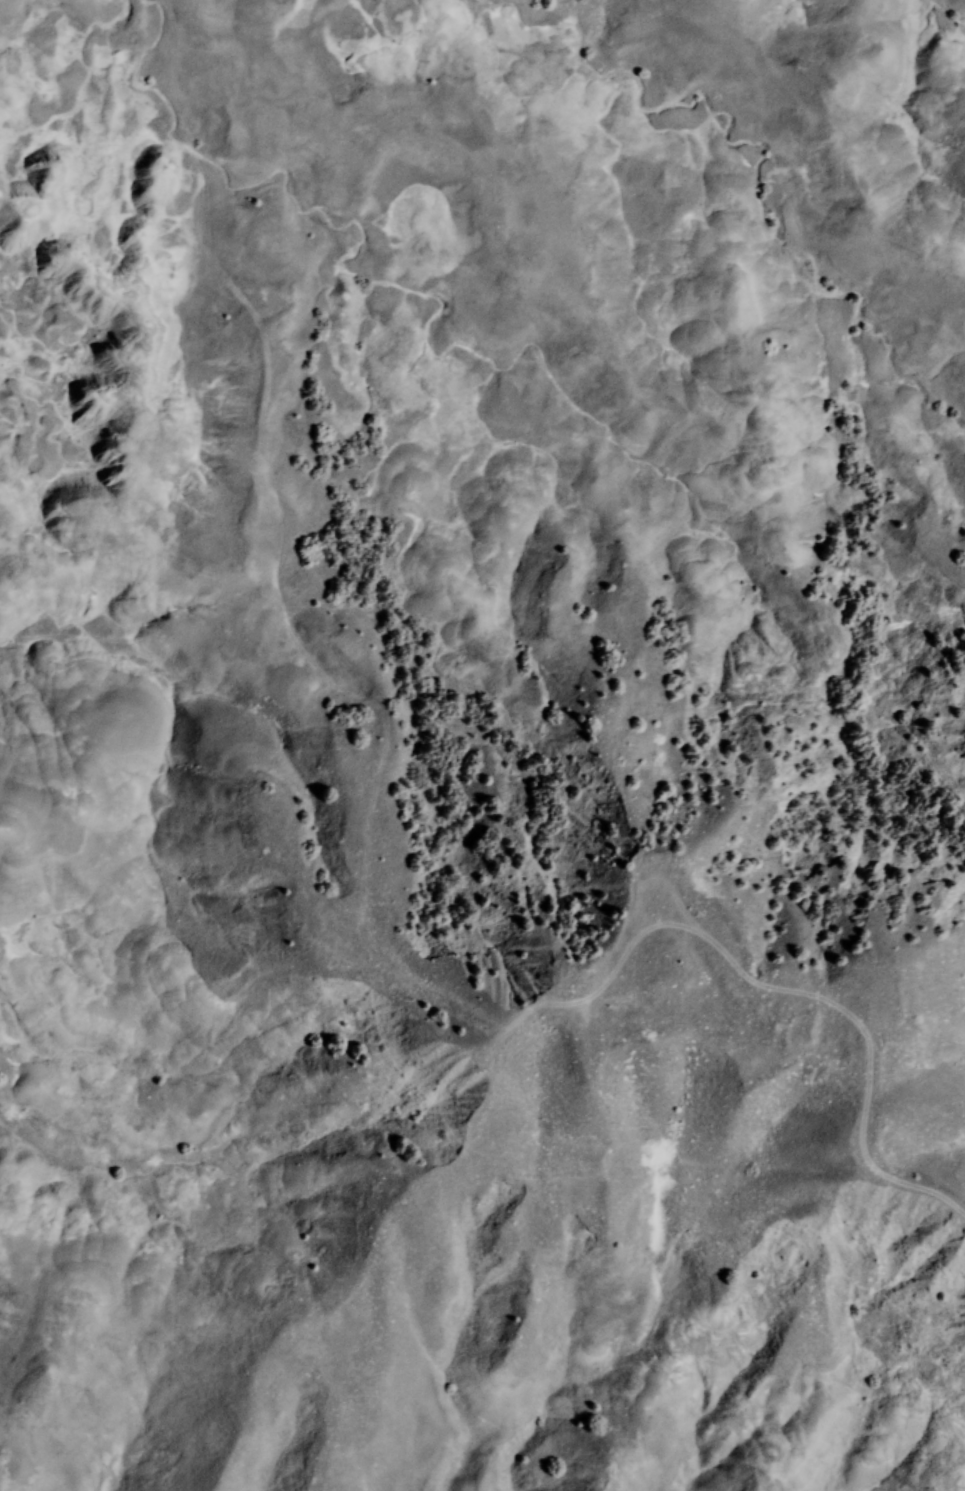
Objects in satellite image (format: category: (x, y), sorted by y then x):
road: (364, 859)

